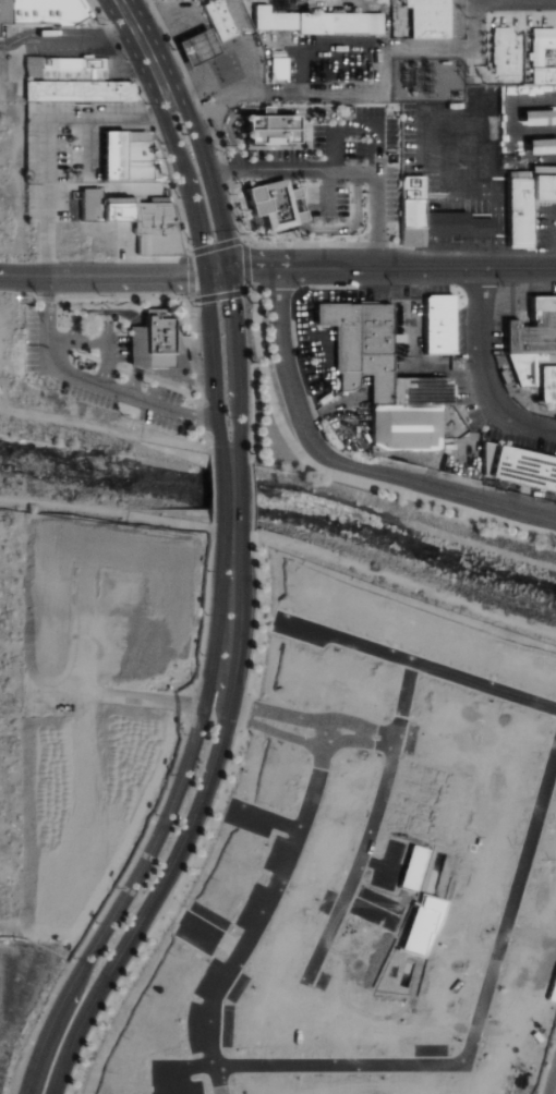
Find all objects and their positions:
road: (470, 0)
road: (512, 0)
building: (38, 13)
building: (426, 19)
building: (216, 20)
building: (317, 21)
road: (64, 32)
road: (137, 34)
building: (194, 48)
gas station: (194, 48)
building: (505, 52)
building: (542, 56)
building: (277, 68)
building: (63, 69)
building: (75, 90)
road: (535, 105)
building: (533, 117)
road: (165, 123)
building: (270, 126)
road: (47, 139)
building: (539, 146)
building: (126, 157)
road: (342, 170)
road: (326, 189)
building: (524, 199)
building: (276, 205)
road: (374, 216)
building: (430, 217)
building: (133, 219)
road: (198, 226)
road: (228, 256)
road: (379, 268)
traffic signals: (230, 270)
road: (23, 277)
road: (126, 278)
traffic signals: (206, 278)
building: (436, 325)
road: (98, 341)
building: (155, 344)
building: (532, 349)
road: (213, 369)
road: (482, 373)
building: (384, 378)
road: (92, 382)
road: (339, 467)
building: (520, 469)
road: (326, 473)
road: (230, 494)
river: (281, 511)
road: (86, 574)
road: (176, 823)
road: (17, 1008)
road: (2, 1043)

